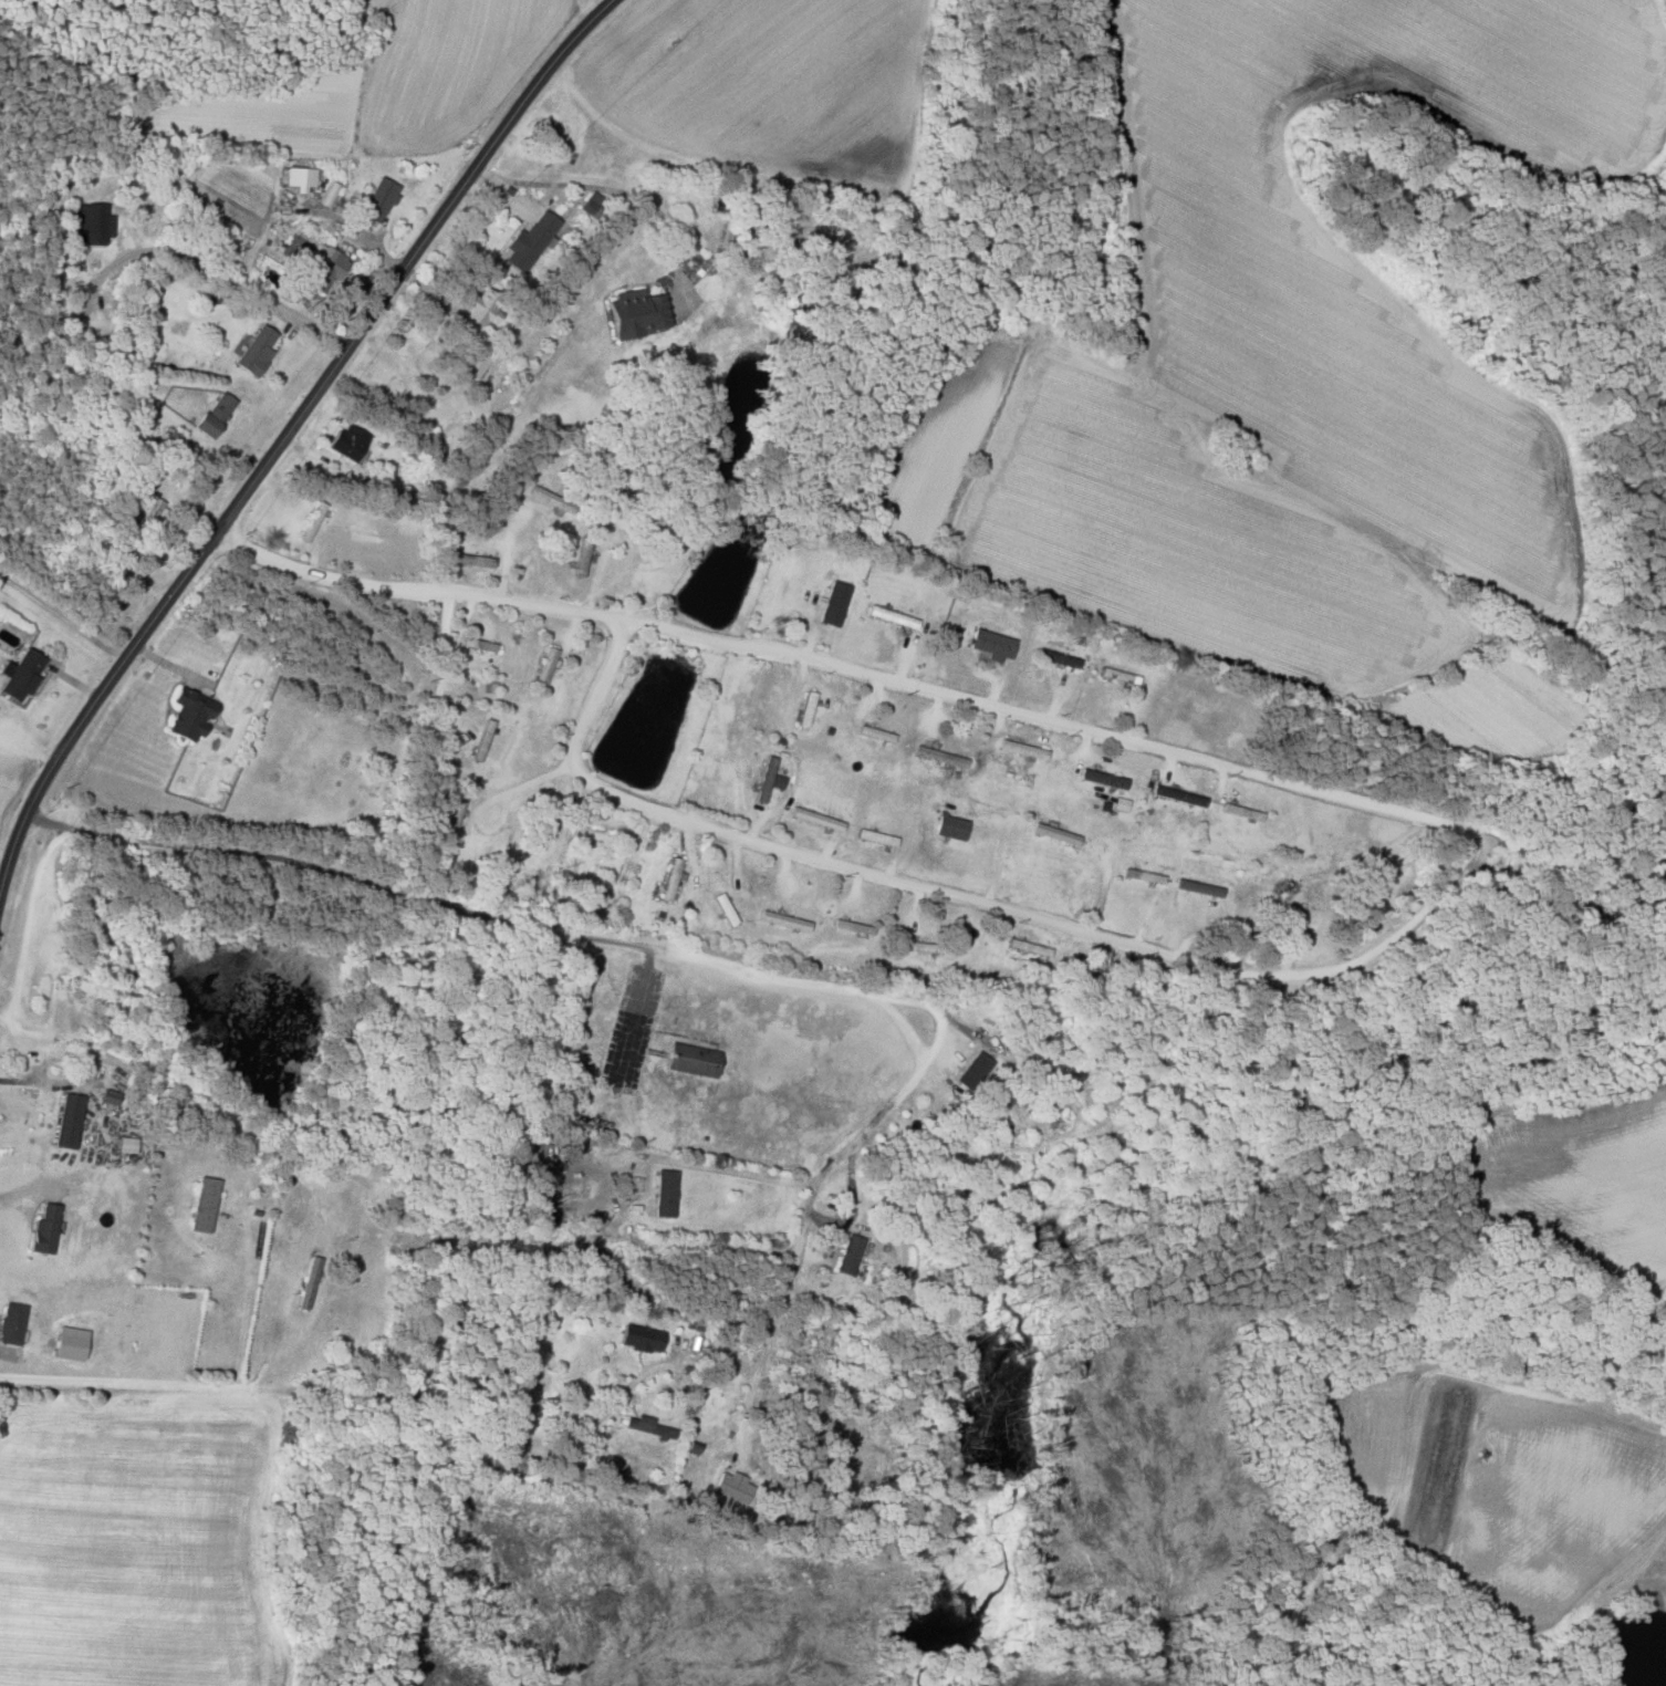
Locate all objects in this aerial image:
building: (298, 178)
road: (610, 189)
building: (378, 200)
road: (354, 231)
building: (529, 241)
building: (321, 270)
road: (221, 274)
building: (475, 313)
building: (634, 314)
building: (253, 351)
building: (477, 365)
building: (211, 415)
road: (283, 434)
building: (348, 441)
building: (545, 496)
building: (582, 556)
building: (470, 559)
building: (833, 602)
road: (62, 615)
building: (991, 643)
building: (1063, 659)
building: (546, 665)
building: (19, 674)
building: (486, 686)
building: (187, 715)
building: (1022, 748)
road: (24, 757)
building: (1103, 778)
building: (767, 779)
road: (1298, 788)
building: (1178, 794)
road: (487, 802)
building: (950, 826)
building: (670, 877)
building: (1194, 886)
building: (1264, 901)
building: (921, 946)
road: (689, 958)
building: (691, 1059)
building: (972, 1070)
building: (108, 1095)
road: (214, 1110)
building: (67, 1120)
building: (125, 1145)
road: (725, 1168)
building: (633, 1183)
road: (32, 1188)
building: (664, 1193)
building: (201, 1204)
building: (42, 1229)
building: (848, 1253)
building: (10, 1322)
building: (639, 1338)
road: (176, 1384)
building: (646, 1425)
road: (457, 1460)
building: (733, 1485)

